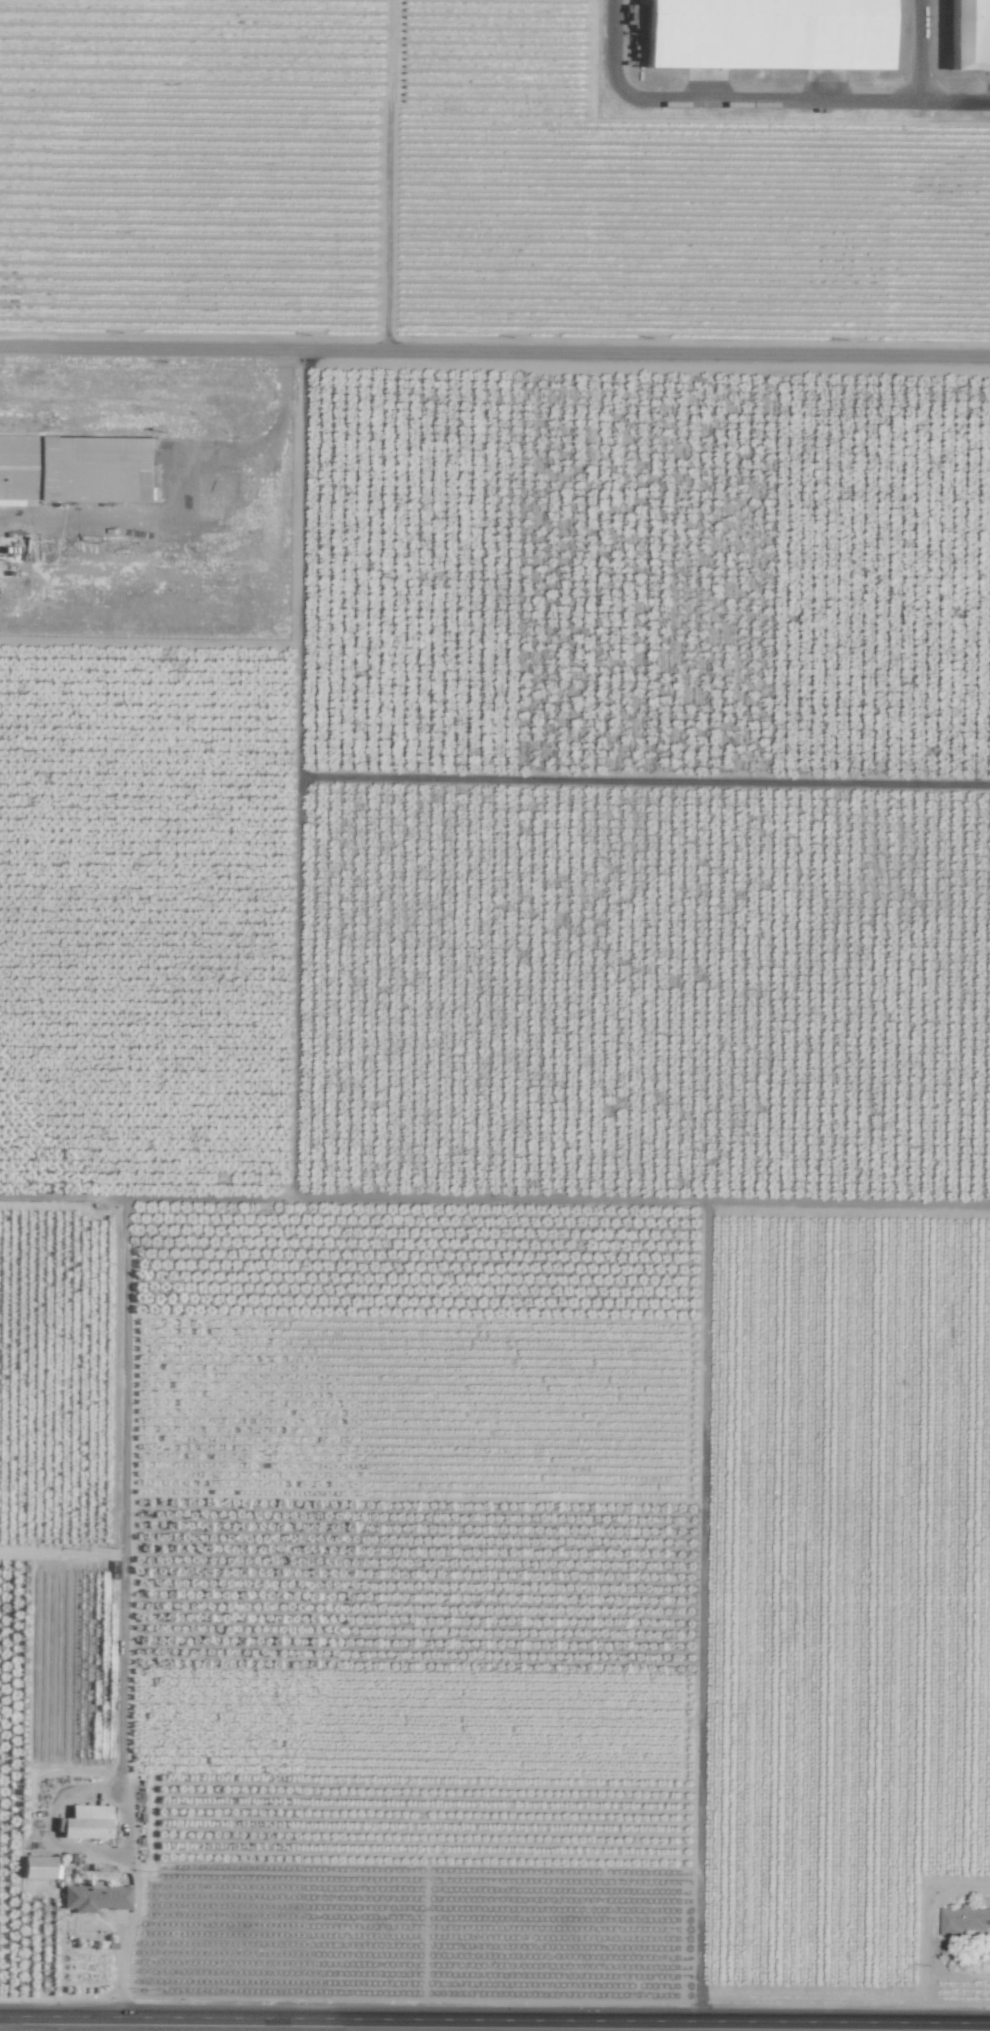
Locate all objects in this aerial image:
building: (763, 34)
building: (968, 35)
road: (924, 49)
road: (756, 99)
road: (495, 350)
building: (79, 470)
road: (208, 526)
building: (85, 1823)
road: (86, 1847)
building: (39, 1868)
building: (94, 1898)
building: (964, 1920)
road: (494, 2020)

